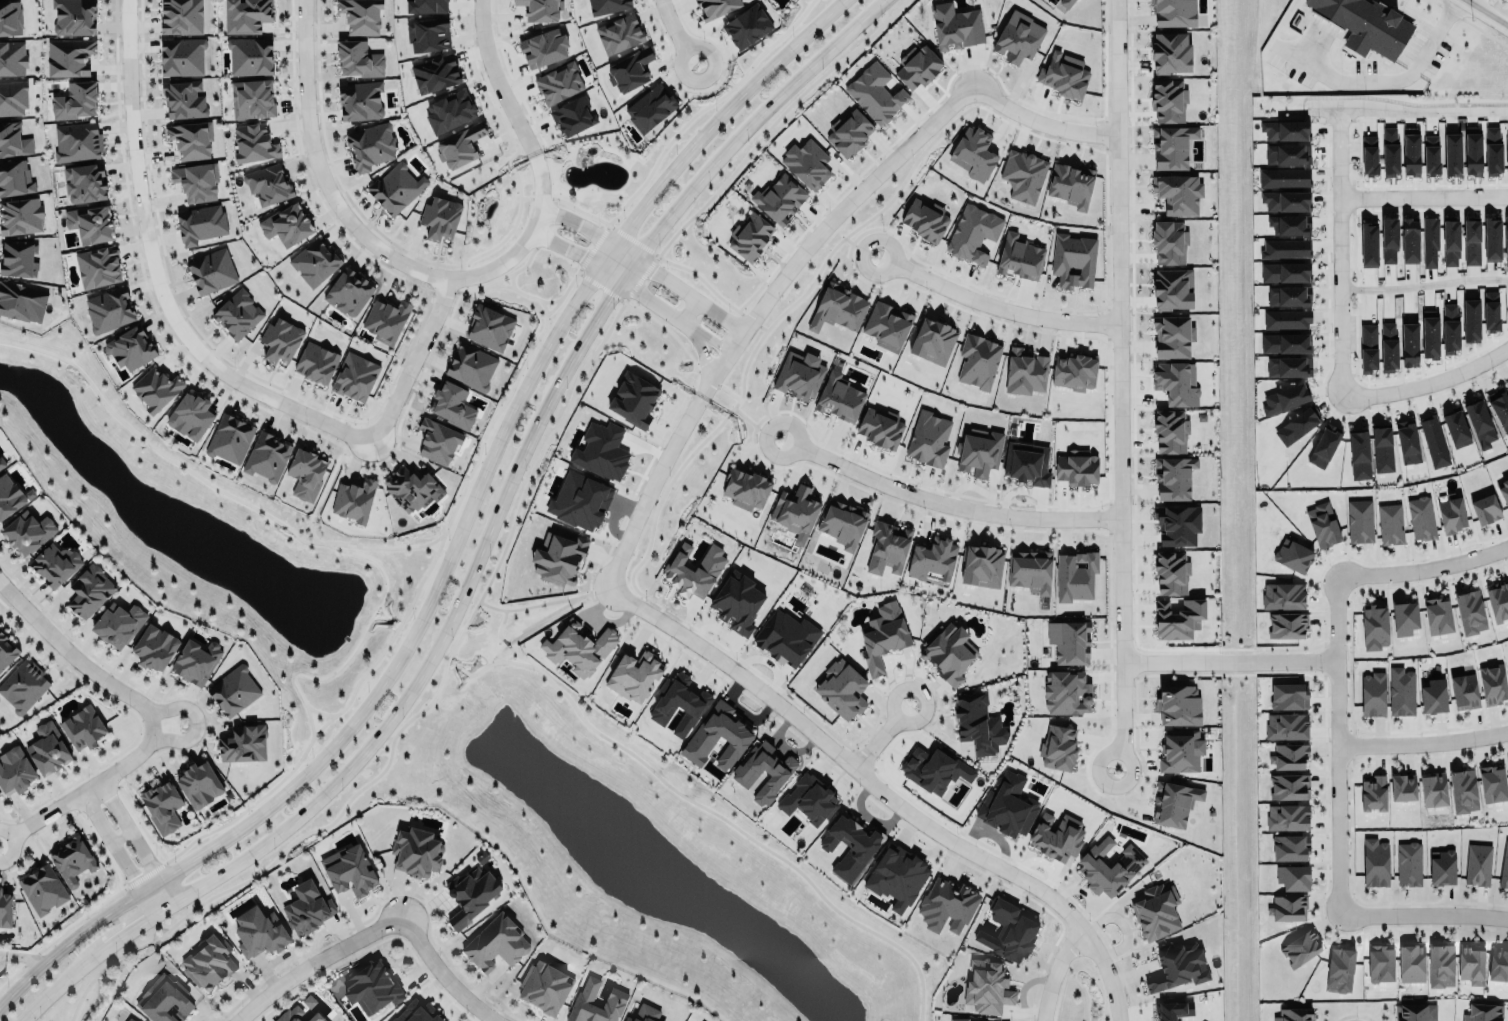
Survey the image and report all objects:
building: (606, 4)
building: (1063, 5)
building: (425, 6)
building: (1173, 13)
road: (1484, 14)
building: (246, 15)
building: (179, 16)
building: (360, 16)
building: (10, 17)
building: (73, 17)
building: (1366, 25)
building: (747, 26)
building: (956, 27)
road: (677, 28)
building: (619, 34)
building: (428, 35)
building: (1017, 35)
building: (543, 45)
building: (1171, 49)
building: (250, 56)
building: (69, 57)
building: (181, 57)
building: (12, 58)
building: (358, 58)
building: (918, 67)
building: (629, 70)
building: (434, 71)
building: (1063, 75)
road: (502, 79)
building: (558, 81)
road: (1382, 84)
building: (875, 94)
building: (12, 97)
building: (183, 97)
building: (251, 98)
building: (76, 101)
building: (360, 101)
building: (1168, 101)
building: (653, 103)
road: (1418, 107)
building: (449, 111)
building: (573, 117)
road: (1042, 117)
road: (713, 125)
building: (1286, 130)
road: (744, 132)
building: (849, 133)
building: (13, 140)
building: (190, 140)
building: (78, 141)
building: (252, 141)
building: (369, 146)
building: (459, 146)
building: (1172, 147)
building: (1287, 151)
building: (972, 153)
building: (1411, 155)
road: (1337, 158)
road: (537, 159)
building: (808, 162)
building: (1021, 173)
building: (1285, 177)
building: (15, 179)
building: (195, 180)
building: (84, 181)
building: (1070, 183)
building: (268, 184)
road: (541, 185)
building: (395, 188)
building: (1178, 194)
building: (779, 197)
building: (1286, 201)
road: (841, 208)
building: (19, 214)
building: (439, 215)
building: (924, 219)
building: (199, 221)
building: (90, 222)
building: (286, 224)
road: (359, 224)
building: (973, 234)
building: (1506, 234)
building: (750, 237)
building: (1492, 239)
building: (1389, 240)
building: (1409, 241)
building: (1169, 242)
building: (1430, 242)
building: (1471, 242)
building: (1450, 243)
road: (568, 245)
building: (1286, 248)
building: (16, 255)
building: (1020, 257)
building: (1073, 260)
building: (314, 262)
road: (643, 265)
building: (98, 266)
building: (211, 271)
building: (1286, 272)
road: (609, 273)
road: (160, 279)
road: (1423, 286)
building: (1172, 289)
building: (350, 291)
building: (1284, 292)
road: (1338, 297)
building: (20, 302)
road: (652, 302)
road: (996, 304)
building: (108, 306)
building: (838, 308)
building: (1491, 310)
road: (688, 312)
building: (237, 314)
building: (1285, 316)
building: (385, 320)
building: (1470, 320)
building: (886, 324)
building: (489, 326)
building: (1450, 329)
building: (1429, 336)
building: (933, 337)
building: (1172, 337)
road: (704, 338)
building: (280, 340)
building: (1286, 343)
building: (1409, 344)
building: (1388, 345)
road: (701, 348)
building: (1368, 348)
building: (130, 349)
building: (316, 360)
building: (978, 361)
road: (415, 362)
building: (471, 367)
building: (1289, 367)
building: (1024, 370)
building: (1074, 372)
road: (713, 374)
building: (799, 375)
building: (355, 377)
building: (1175, 378)
road: (1122, 379)
building: (156, 385)
building: (1507, 385)
building: (1284, 395)
building: (840, 396)
building: (632, 397)
building: (453, 405)
building: (1500, 408)
building: (192, 413)
building: (1480, 423)
building: (1170, 426)
building: (880, 427)
building: (1456, 428)
building: (230, 438)
building: (928, 439)
building: (1433, 441)
building: (438, 442)
building: (1407, 442)
building: (1382, 449)
building: (601, 451)
building: (979, 452)
building: (266, 454)
building: (1359, 455)
building: (1027, 461)
building: (2, 462)
building: (1077, 468)
building: (1173, 473)
building: (306, 474)
road: (649, 485)
building: (1503, 488)
building: (411, 489)
building: (745, 489)
building: (9, 495)
building: (353, 496)
road: (948, 496)
building: (579, 499)
building: (1486, 508)
building: (795, 509)
building: (1451, 513)
building: (1421, 518)
building: (1360, 521)
building: (842, 523)
building: (1390, 524)
building: (1177, 525)
building: (1323, 525)
building: (27, 530)
building: (887, 548)
building: (1293, 555)
building: (559, 558)
building: (932, 558)
building: (53, 564)
road: (1421, 565)
building: (982, 566)
building: (708, 567)
building: (1029, 570)
building: (1171, 573)
building: (1075, 576)
building: (89, 591)
building: (1283, 594)
building: (737, 599)
building: (1498, 602)
road: (481, 607)
building: (1470, 612)
building: (1438, 616)
building: (1404, 618)
building: (1178, 619)
building: (118, 623)
building: (1288, 624)
building: (1374, 627)
building: (784, 634)
road: (445, 635)
building: (883, 636)
building: (1070, 642)
building: (154, 644)
building: (7, 648)
building: (578, 648)
building: (948, 652)
road: (1227, 652)
road: (81, 659)
building: (195, 661)
building: (1507, 666)
building: (634, 676)
building: (1493, 684)
building: (23, 685)
building: (841, 690)
building: (1400, 690)
building: (233, 691)
building: (1465, 691)
building: (1066, 692)
building: (1372, 694)
building: (1288, 696)
building: (1433, 696)
road: (376, 697)
building: (678, 704)
building: (1178, 705)
building: (976, 721)
building: (81, 724)
building: (1284, 725)
road: (881, 735)
building: (717, 737)
road: (1420, 738)
road: (1332, 739)
building: (243, 743)
building: (48, 748)
building: (1058, 748)
building: (1181, 751)
building: (1289, 756)
building: (1507, 764)
building: (766, 767)
building: (933, 768)
building: (14, 771)
road: (656, 783)
building: (1493, 783)
road: (89, 785)
building: (199, 785)
building: (1291, 786)
building: (1403, 787)
road: (885, 789)
building: (1434, 789)
building: (1464, 790)
building: (1373, 793)
building: (808, 800)
building: (1174, 804)
building: (163, 806)
building: (1008, 806)
building: (1287, 817)
building: (1056, 836)
road: (136, 839)
building: (850, 846)
building: (1290, 848)
road: (118, 851)
building: (417, 852)
building: (72, 859)
building: (1375, 863)
building: (1408, 863)
building: (1109, 864)
building: (1478, 864)
building: (1442, 867)
building: (1504, 868)
building: (349, 870)
building: (897, 876)
building: (1293, 877)
building: (43, 888)
building: (471, 894)
building: (305, 905)
building: (5, 906)
building: (946, 906)
building: (1288, 908)
road: (1420, 909)
building: (1156, 911)
road: (133, 923)
building: (1008, 927)
building: (259, 931)
building: (497, 943)
building: (1300, 948)
road: (313, 959)
building: (1380, 961)
building: (1175, 962)
building: (208, 963)
building: (1411, 963)
building: (1472, 963)
building: (1498, 965)
building: (1440, 966)
building: (1340, 969)
road: (1054, 971)
road: (440, 973)
road: (60, 980)
building: (545, 987)
building: (987, 987)
building: (371, 988)
building: (616, 998)
building: (164, 1000)
building: (1173, 1010)
building: (1413, 1012)
building: (1483, 1012)
building: (416, 1013)
building: (289, 1014)
building: (645, 1014)
building: (1295, 1014)
building: (316, 1017)
building: (129, 1019)
building: (959, 1019)

